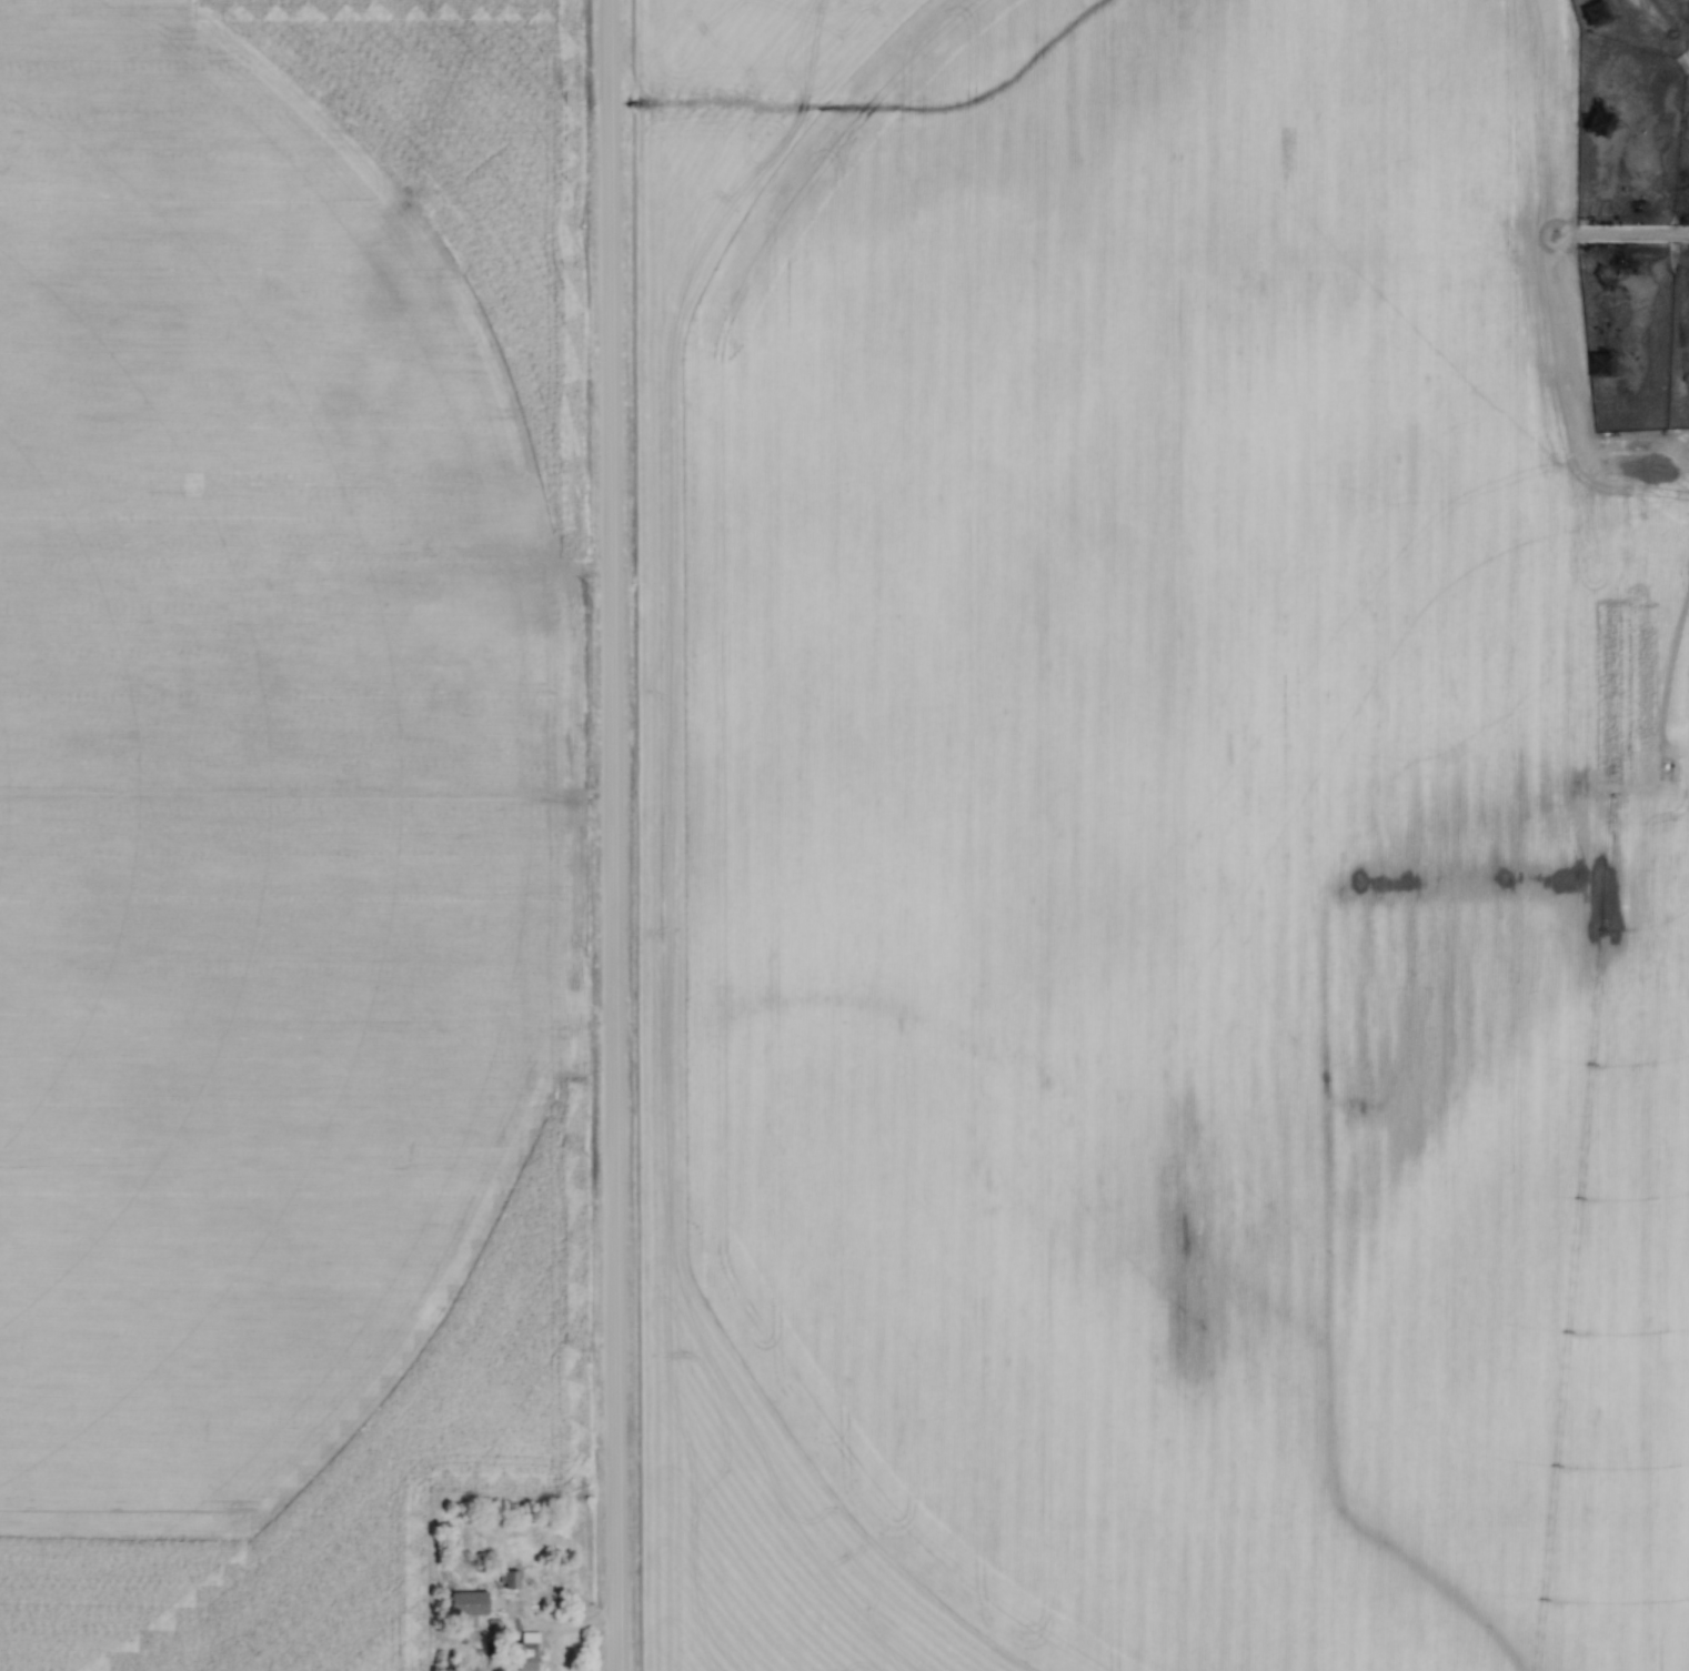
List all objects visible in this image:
road: (610, 835)
building: (511, 1579)
building: (472, 1603)
building: (531, 1651)

